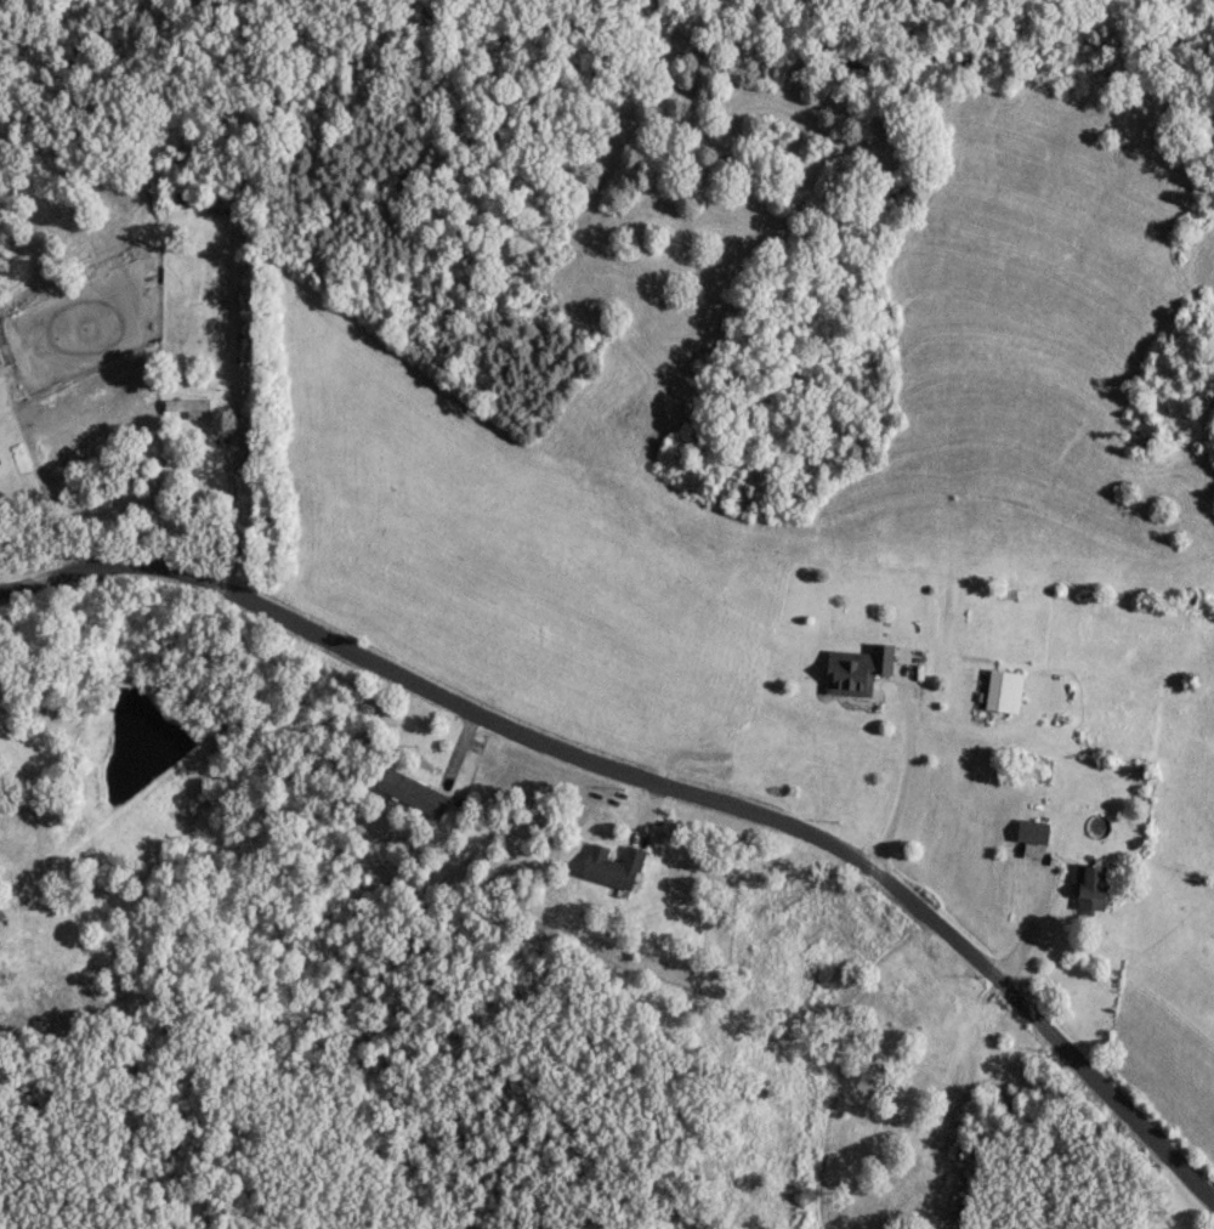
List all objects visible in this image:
building: (216, 198)
building: (185, 403)
road: (233, 506)
road: (5, 579)
building: (855, 668)
building: (1002, 689)
road: (39, 753)
road: (902, 776)
road: (657, 780)
building: (412, 791)
building: (1031, 828)
building: (611, 865)
building: (1089, 884)
building: (0, 913)

